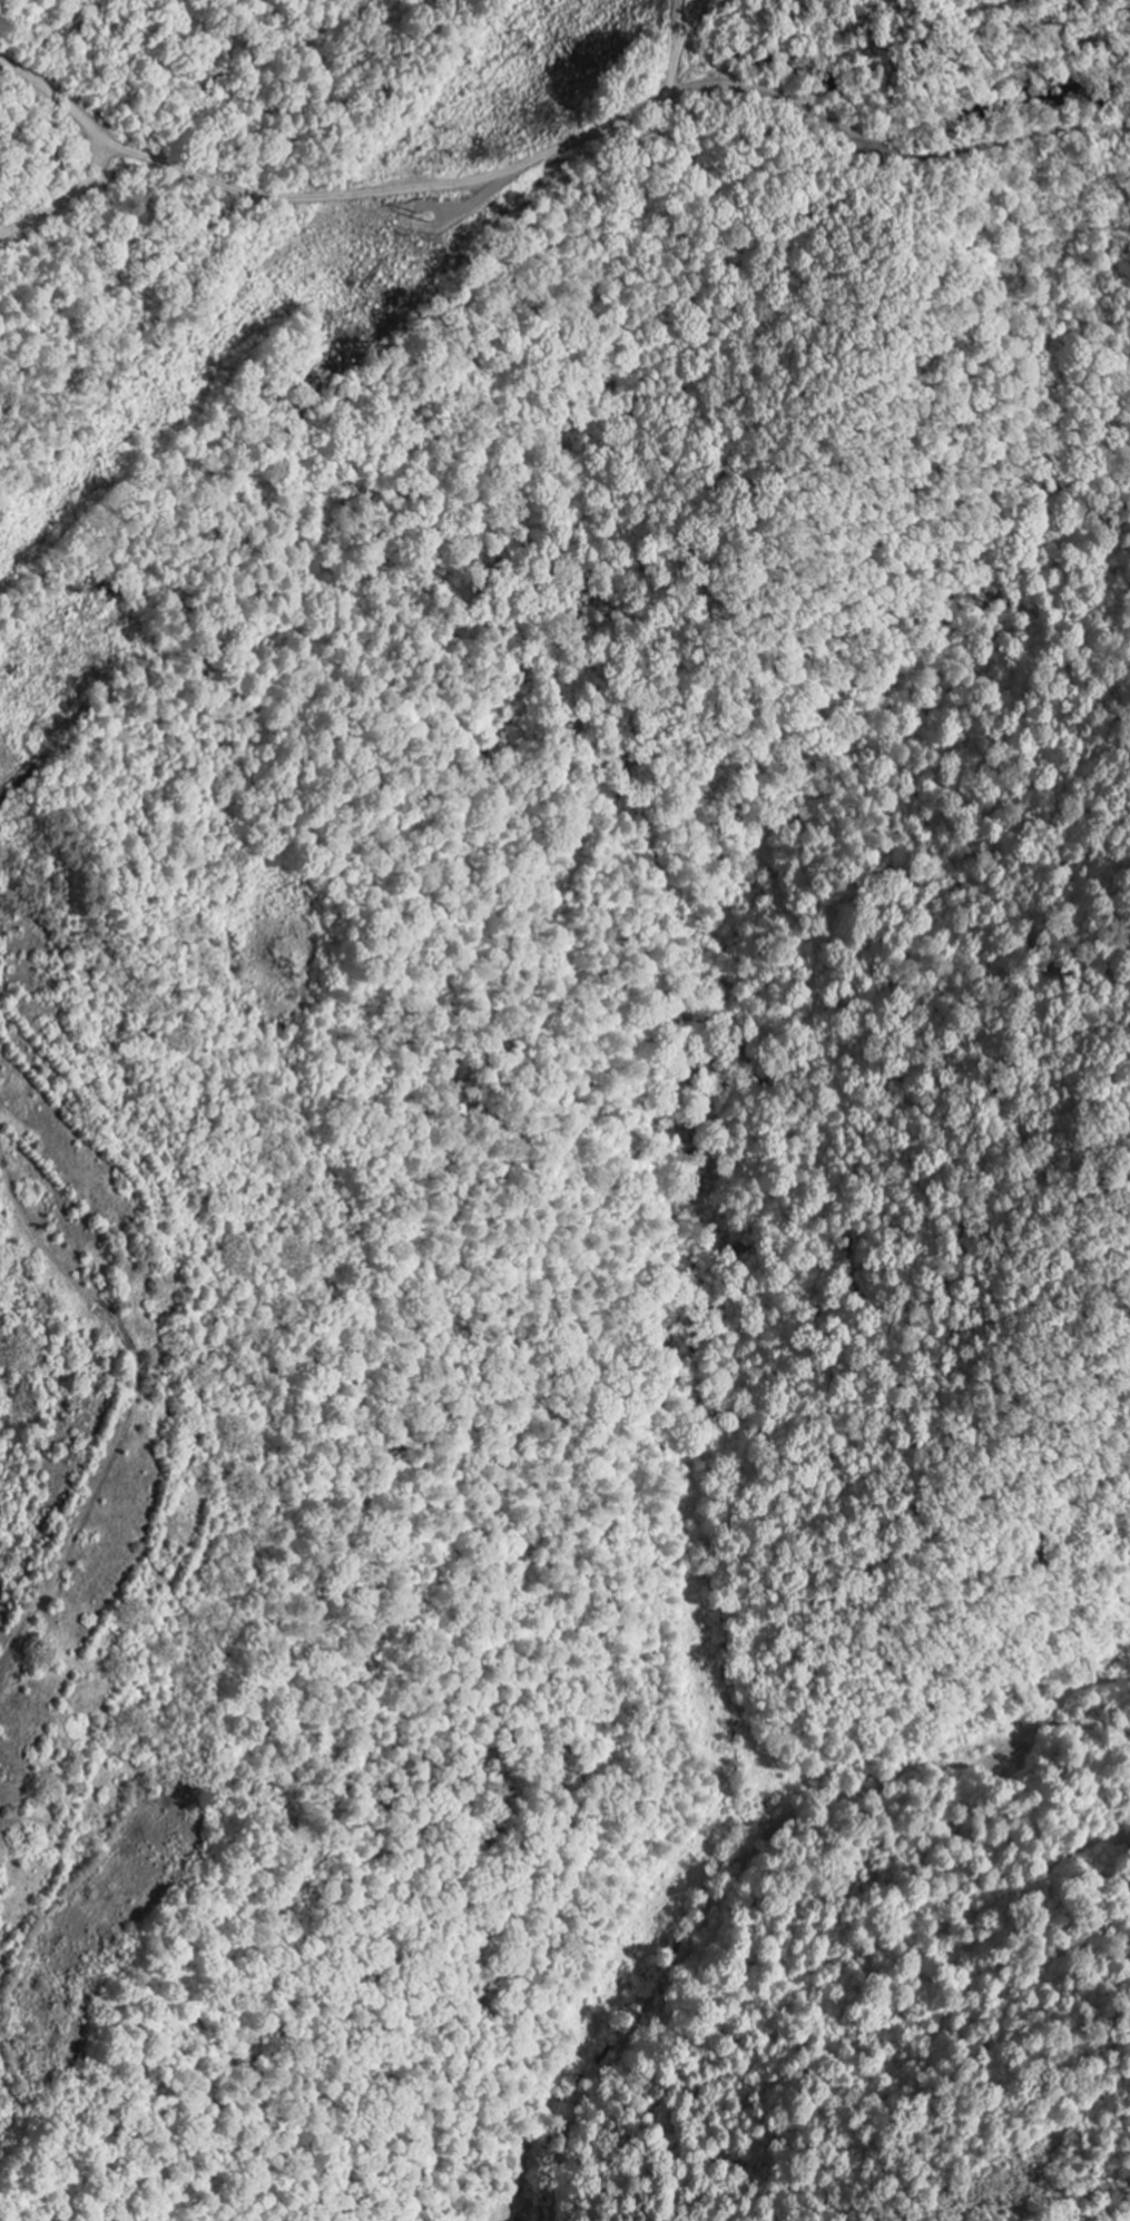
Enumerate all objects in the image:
road: (147, 53)
road: (688, 65)

